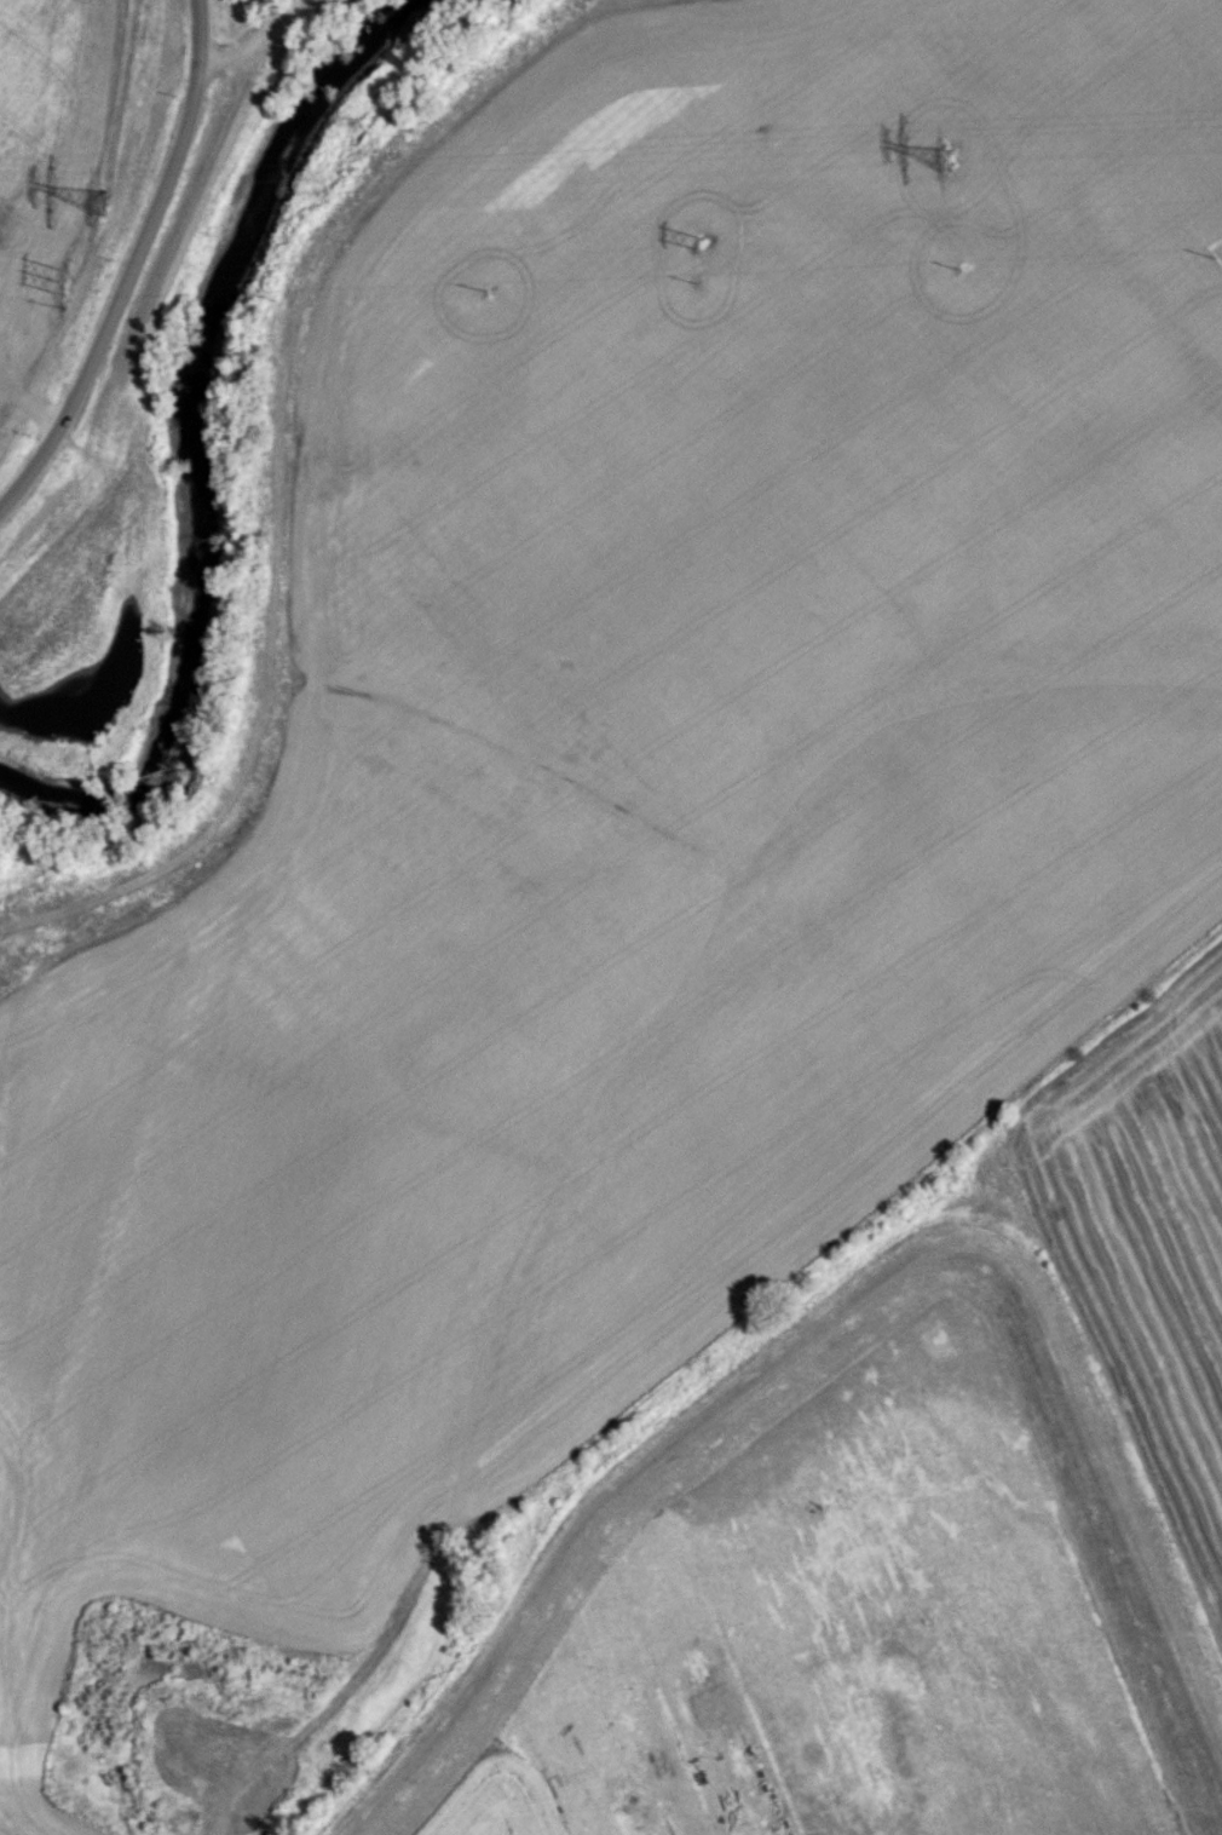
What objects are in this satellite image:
road: (198, 34)
road: (250, 41)
power tower: (944, 156)
power tower: (98, 200)
power tower: (697, 242)
power tower: (64, 281)
road: (119, 298)
river: (190, 442)
road: (0, 1834)

